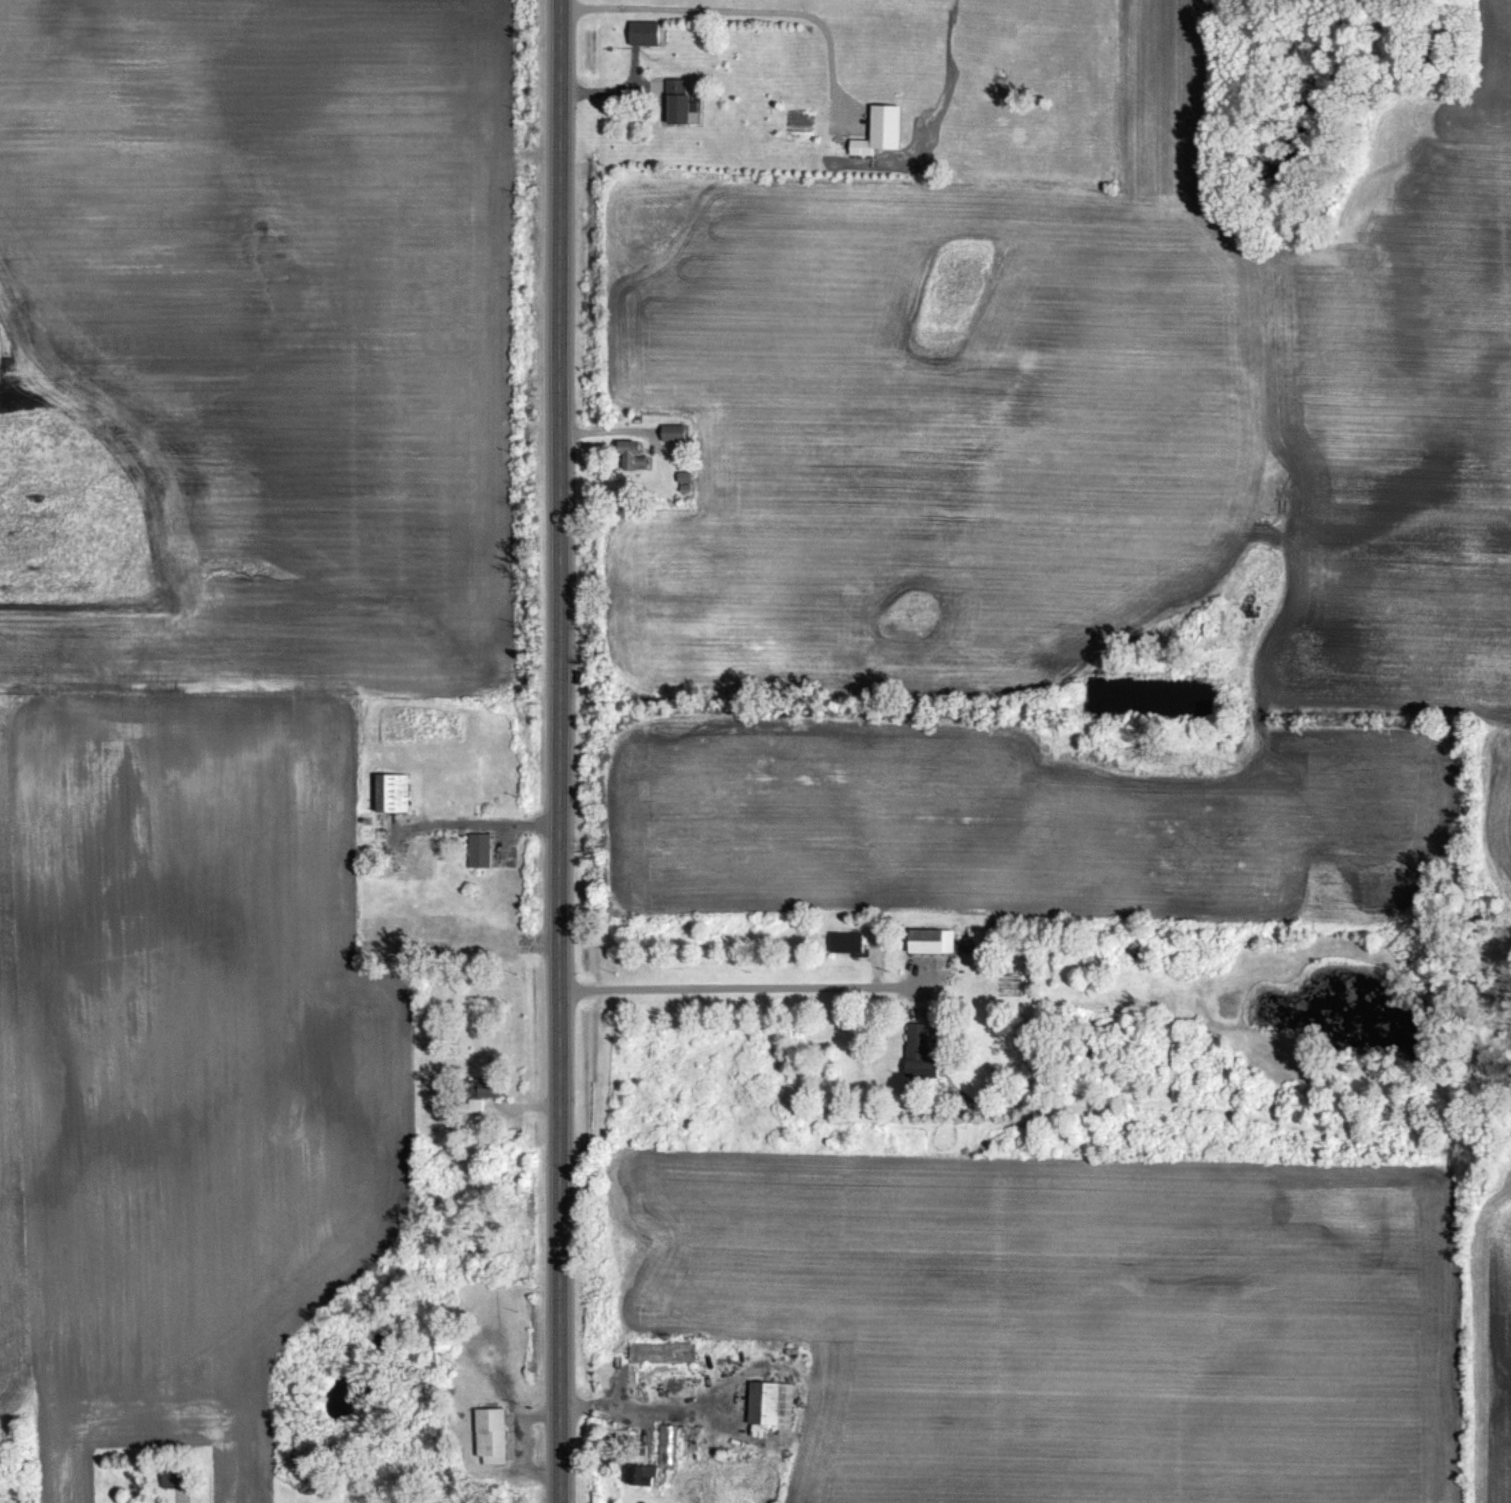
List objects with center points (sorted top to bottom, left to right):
building: (643, 31)
road: (609, 89)
building: (680, 100)
building: (881, 130)
building: (674, 432)
building: (630, 446)
road: (556, 751)
building: (395, 792)
building: (480, 849)
building: (934, 939)
building: (848, 941)
road: (736, 985)
building: (921, 1054)
building: (491, 1087)
building: (662, 1351)
building: (772, 1402)
road: (636, 1407)
building: (491, 1434)
building: (644, 1474)

